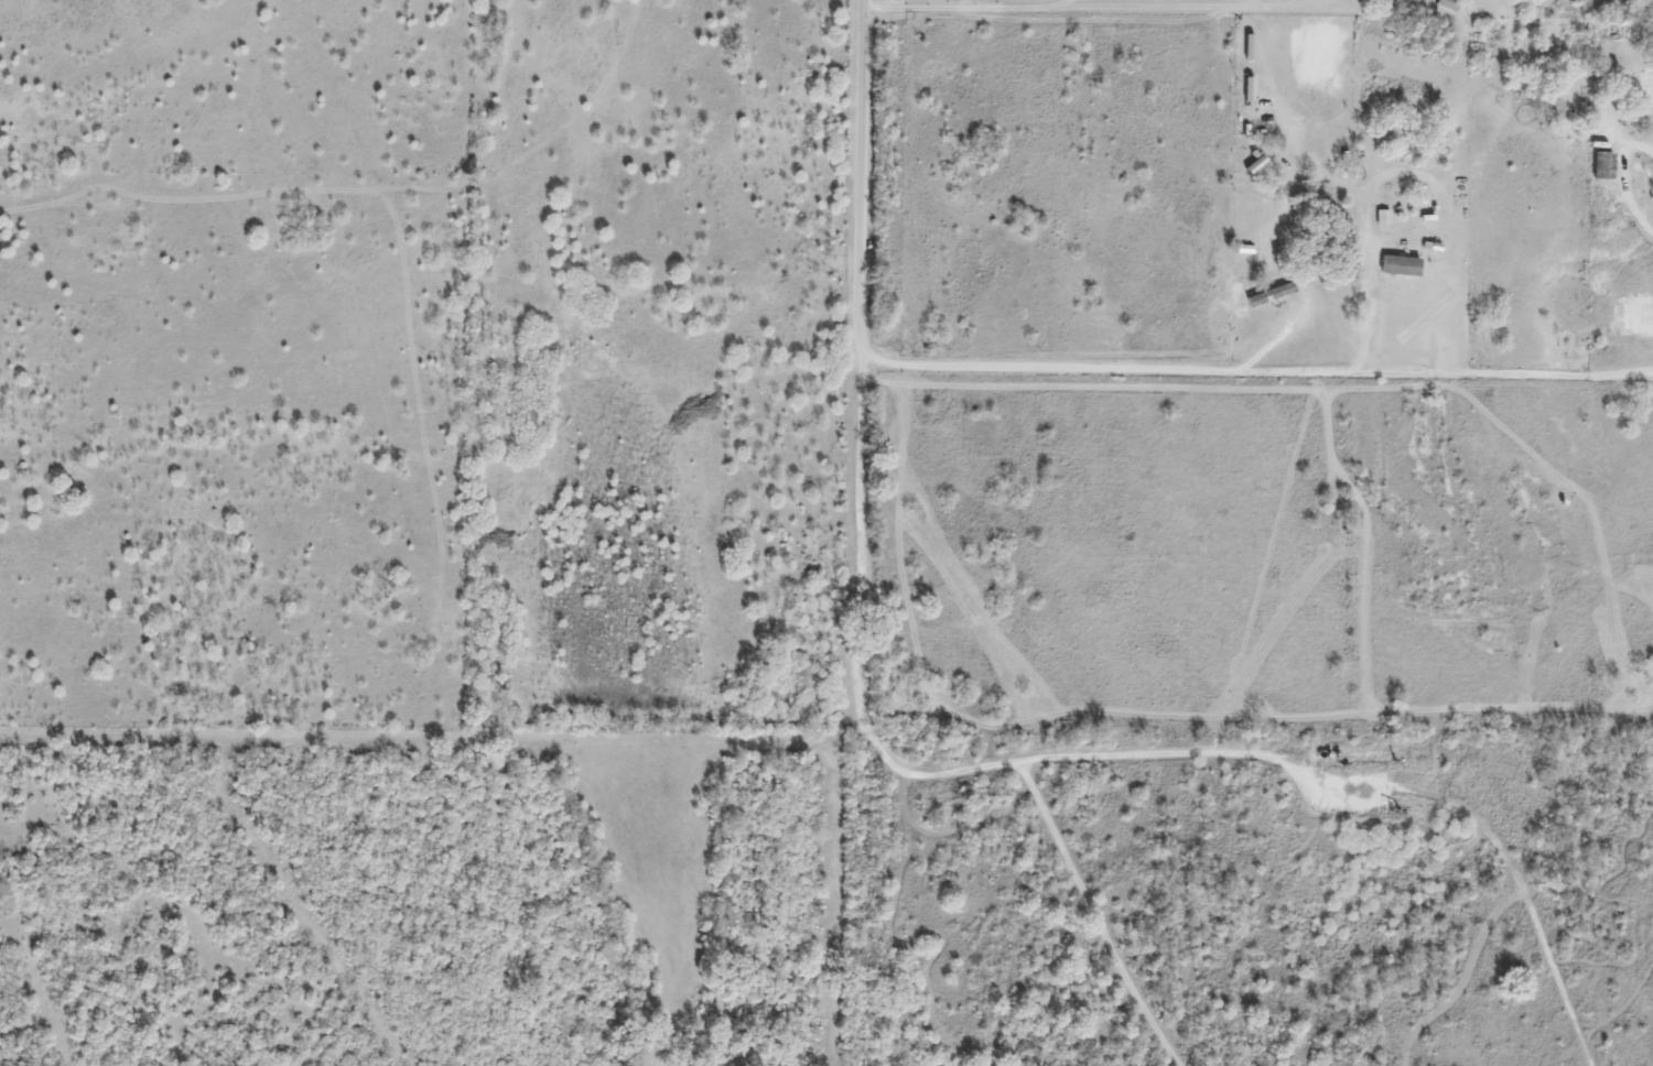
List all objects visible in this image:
road: (855, 176)
building: (1395, 265)
building: (1266, 294)
road: (1253, 371)
road: (893, 770)

